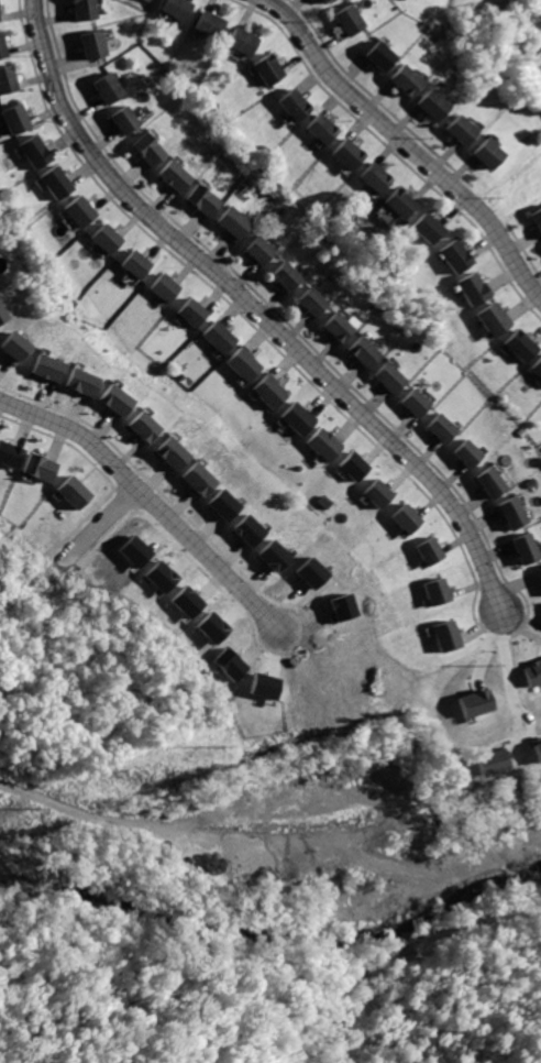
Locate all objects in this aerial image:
building: (148, 0)
building: (324, 2)
building: (173, 8)
building: (81, 10)
building: (346, 22)
building: (208, 26)
building: (241, 41)
building: (88, 45)
building: (2, 46)
building: (377, 55)
building: (266, 70)
building: (7, 79)
building: (401, 80)
building: (103, 87)
building: (290, 103)
building: (428, 107)
building: (13, 117)
building: (122, 118)
building: (317, 128)
building: (455, 128)
road: (405, 145)
building: (146, 149)
building: (31, 151)
building: (345, 153)
building: (482, 155)
building: (173, 175)
building: (372, 179)
building: (52, 182)
building: (200, 199)
building: (391, 207)
building: (77, 211)
building: (533, 221)
building: (229, 222)
building: (426, 228)
building: (103, 238)
building: (257, 251)
building: (450, 256)
building: (133, 264)
building: (286, 277)
building: (162, 288)
building: (472, 288)
building: (311, 302)
road: (254, 309)
building: (189, 314)
building: (2, 315)
building: (492, 318)
building: (336, 327)
building: (214, 336)
building: (518, 344)
building: (12, 346)
building: (363, 353)
building: (236, 364)
building: (45, 368)
building: (537, 369)
building: (389, 380)
building: (79, 381)
building: (263, 391)
building: (113, 399)
building: (415, 403)
building: (291, 417)
building: (141, 426)
building: (441, 428)
building: (318, 443)
building: (169, 452)
building: (10, 454)
building: (466, 456)
building: (38, 467)
building: (346, 468)
building: (195, 479)
building: (489, 484)
building: (74, 491)
building: (373, 495)
road: (151, 501)
building: (220, 504)
building: (511, 514)
building: (399, 520)
road: (101, 524)
building: (246, 529)
building: (134, 550)
building: (523, 550)
building: (423, 551)
building: (272, 555)
building: (309, 571)
building: (161, 576)
building: (538, 581)
building: (432, 592)
building: (212, 626)
building: (442, 639)
building: (230, 662)
building: (530, 671)
road: (501, 679)
building: (265, 686)
building: (471, 702)
building: (534, 748)
building: (489, 760)
road: (87, 810)

